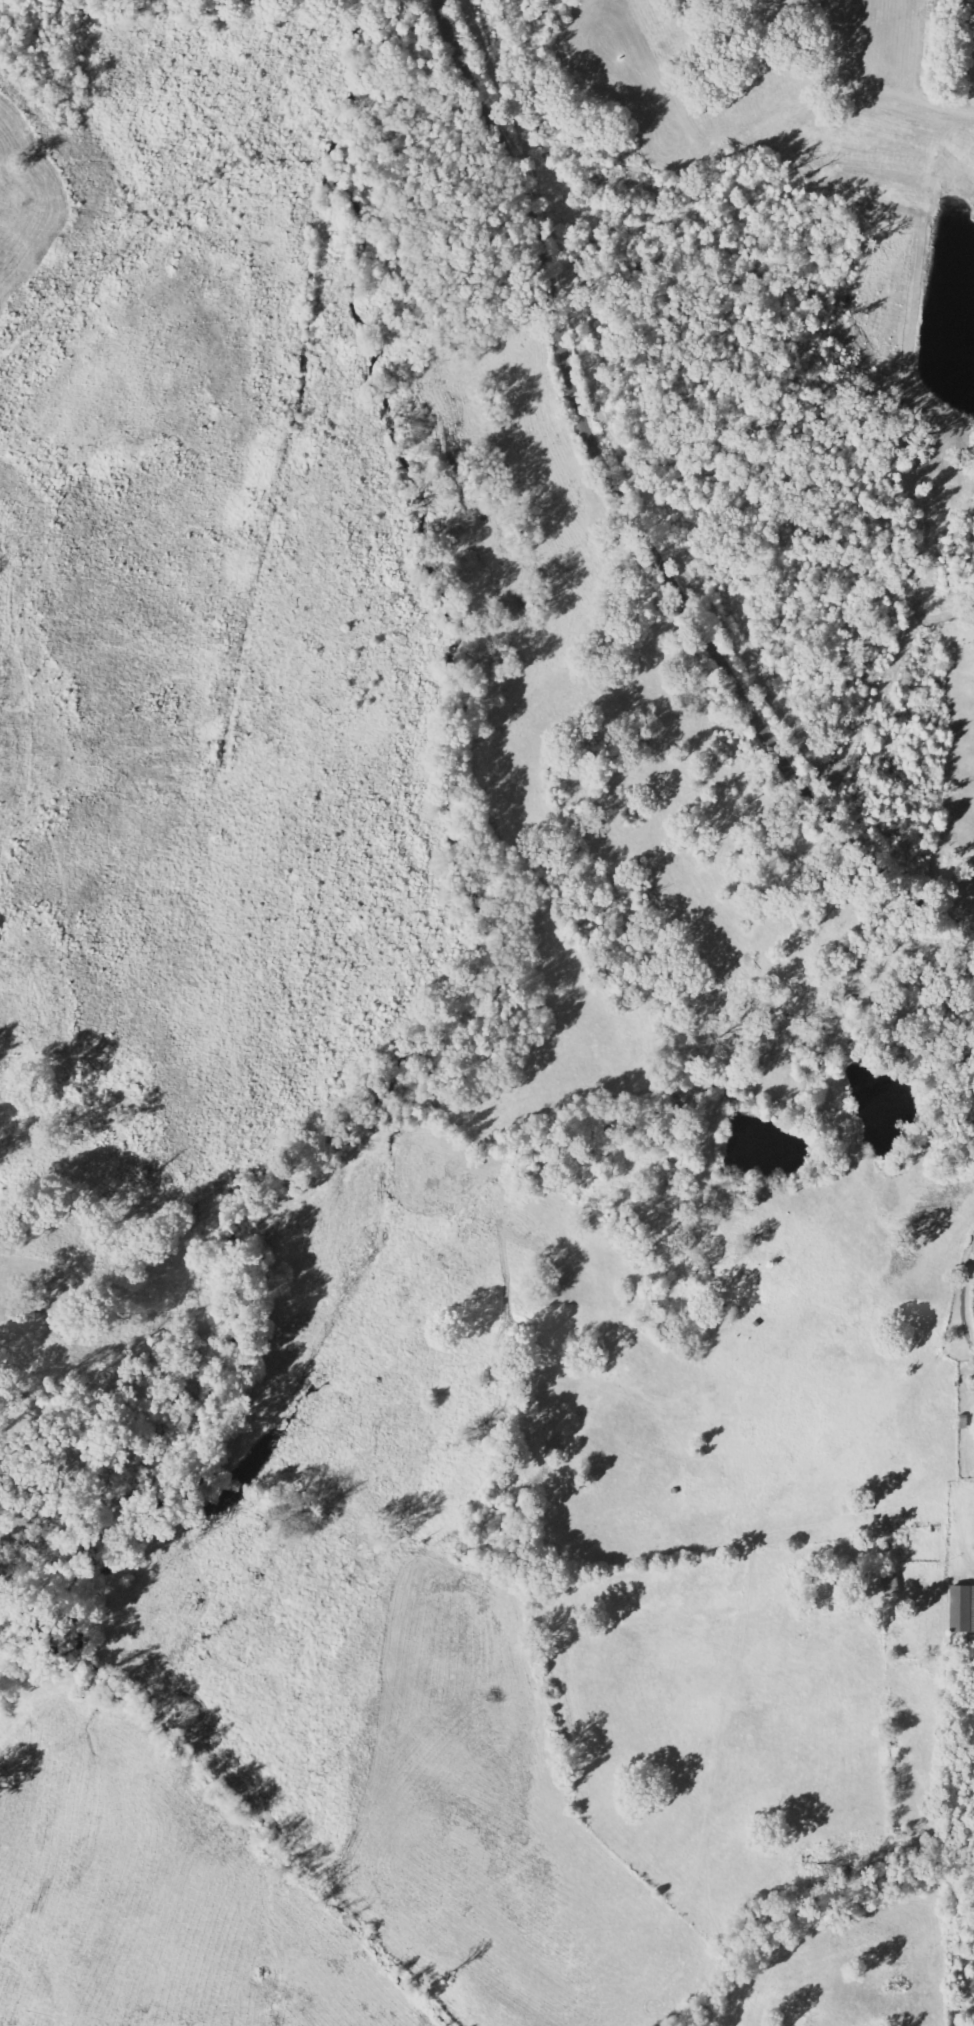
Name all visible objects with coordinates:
road: (630, 510)
building: (960, 1606)

